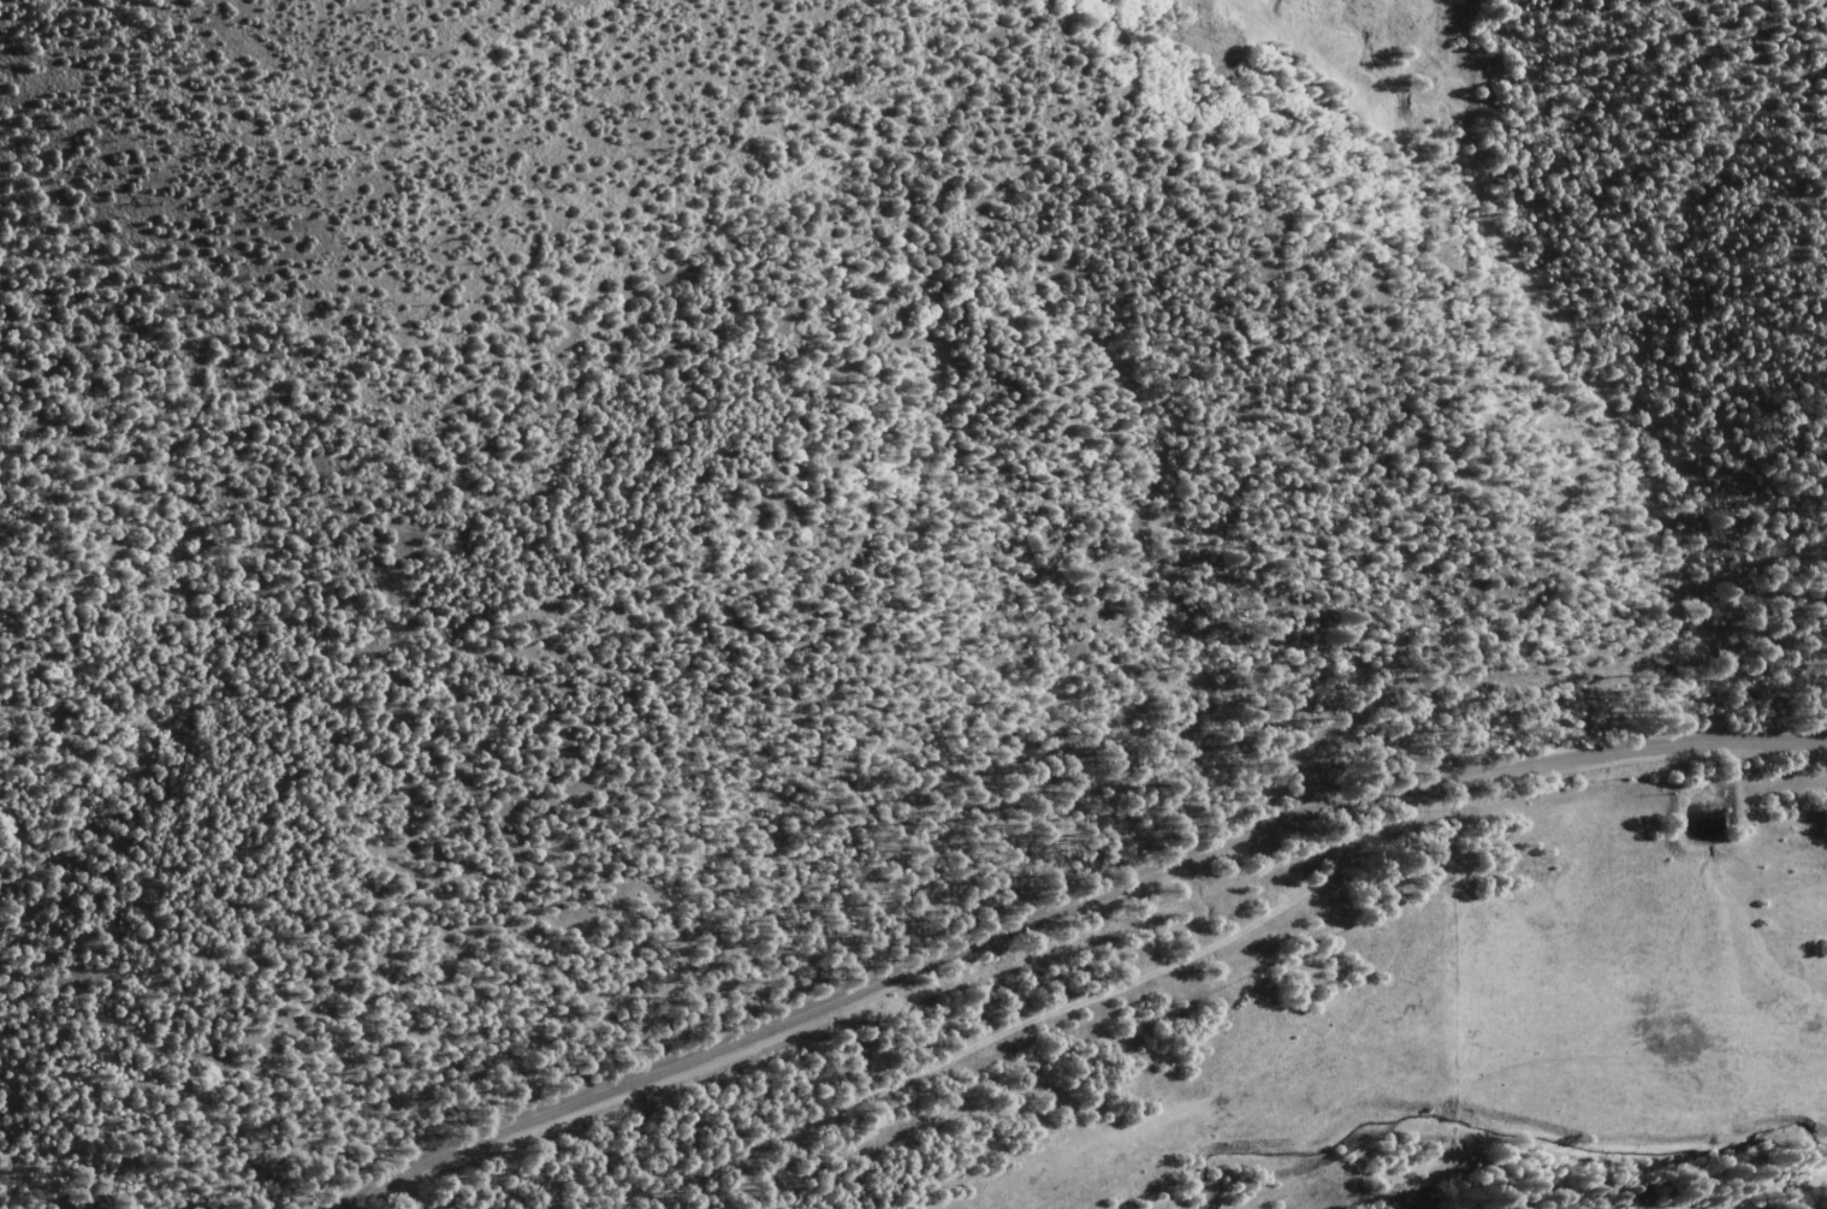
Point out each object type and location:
road: (1070, 903)

